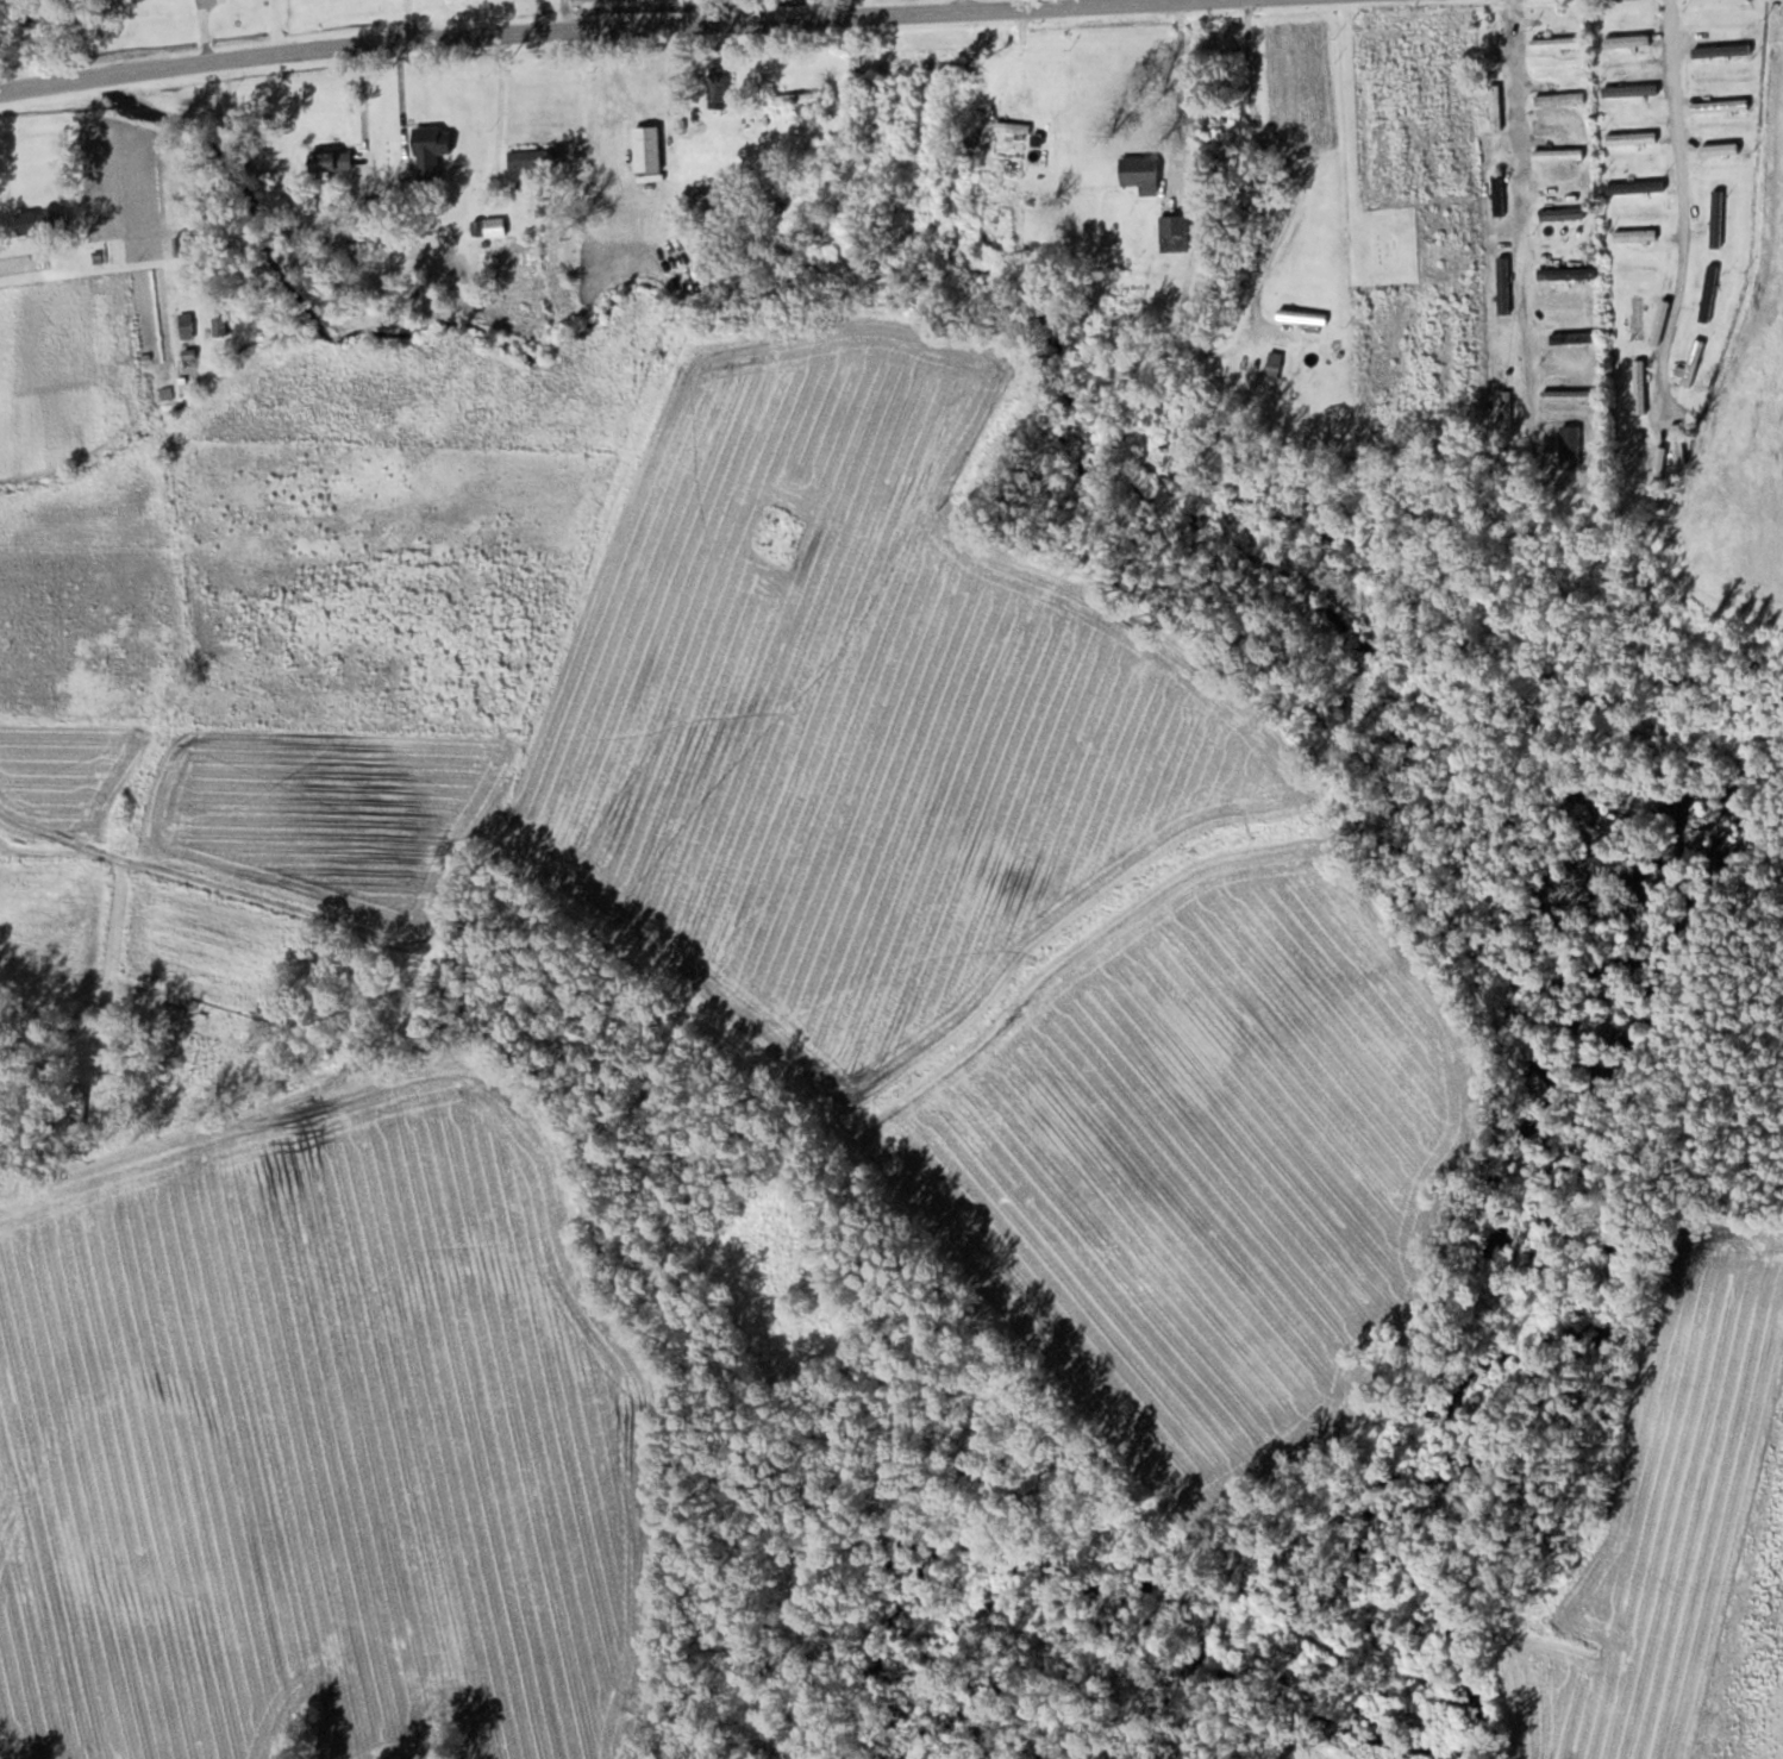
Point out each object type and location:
road: (513, 30)
building: (1554, 42)
building: (1721, 49)
building: (1629, 89)
building: (719, 90)
building: (799, 98)
building: (1558, 98)
building: (1720, 105)
building: (1495, 106)
building: (1013, 126)
building: (1632, 137)
building: (1725, 148)
building: (647, 150)
building: (1559, 154)
building: (331, 159)
building: (536, 163)
building: (1141, 173)
building: (1635, 186)
building: (1497, 193)
building: (706, 202)
building: (1563, 213)
building: (1716, 217)
building: (42, 223)
building: (483, 227)
building: (1177, 230)
building: (1635, 234)
building: (184, 245)
building: (1568, 273)
building: (1503, 283)
building: (1708, 292)
building: (1302, 315)
building: (1637, 315)
building: (186, 325)
building: (220, 326)
building: (1572, 337)
building: (1275, 362)
building: (1693, 362)
building: (1639, 386)
building: (1574, 394)
building: (1575, 450)
building: (1641, 464)
building: (171, 1013)

